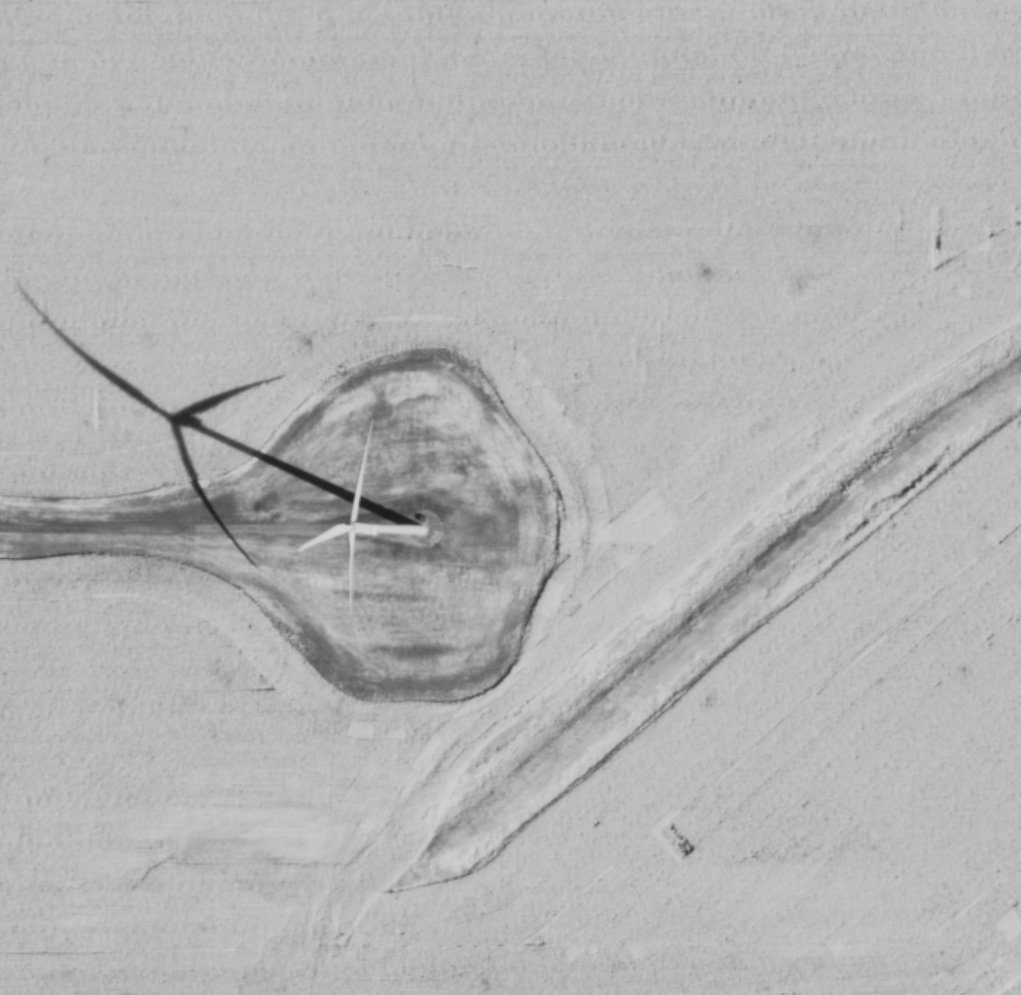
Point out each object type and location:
wind turbine: (419, 528)

